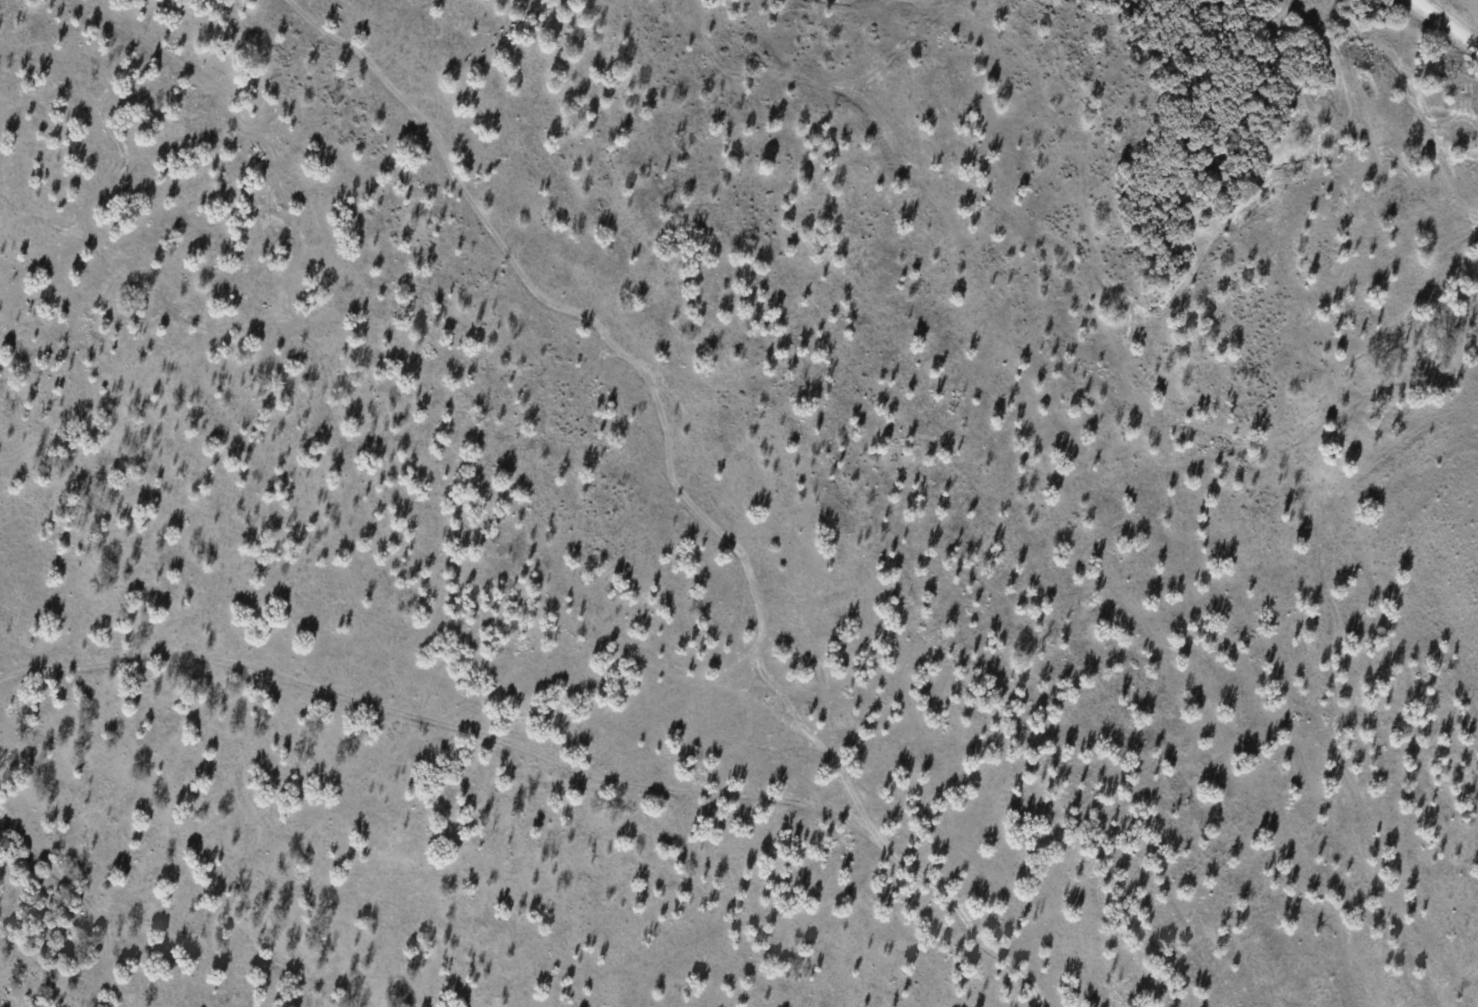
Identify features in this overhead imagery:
road: (1446, 24)

